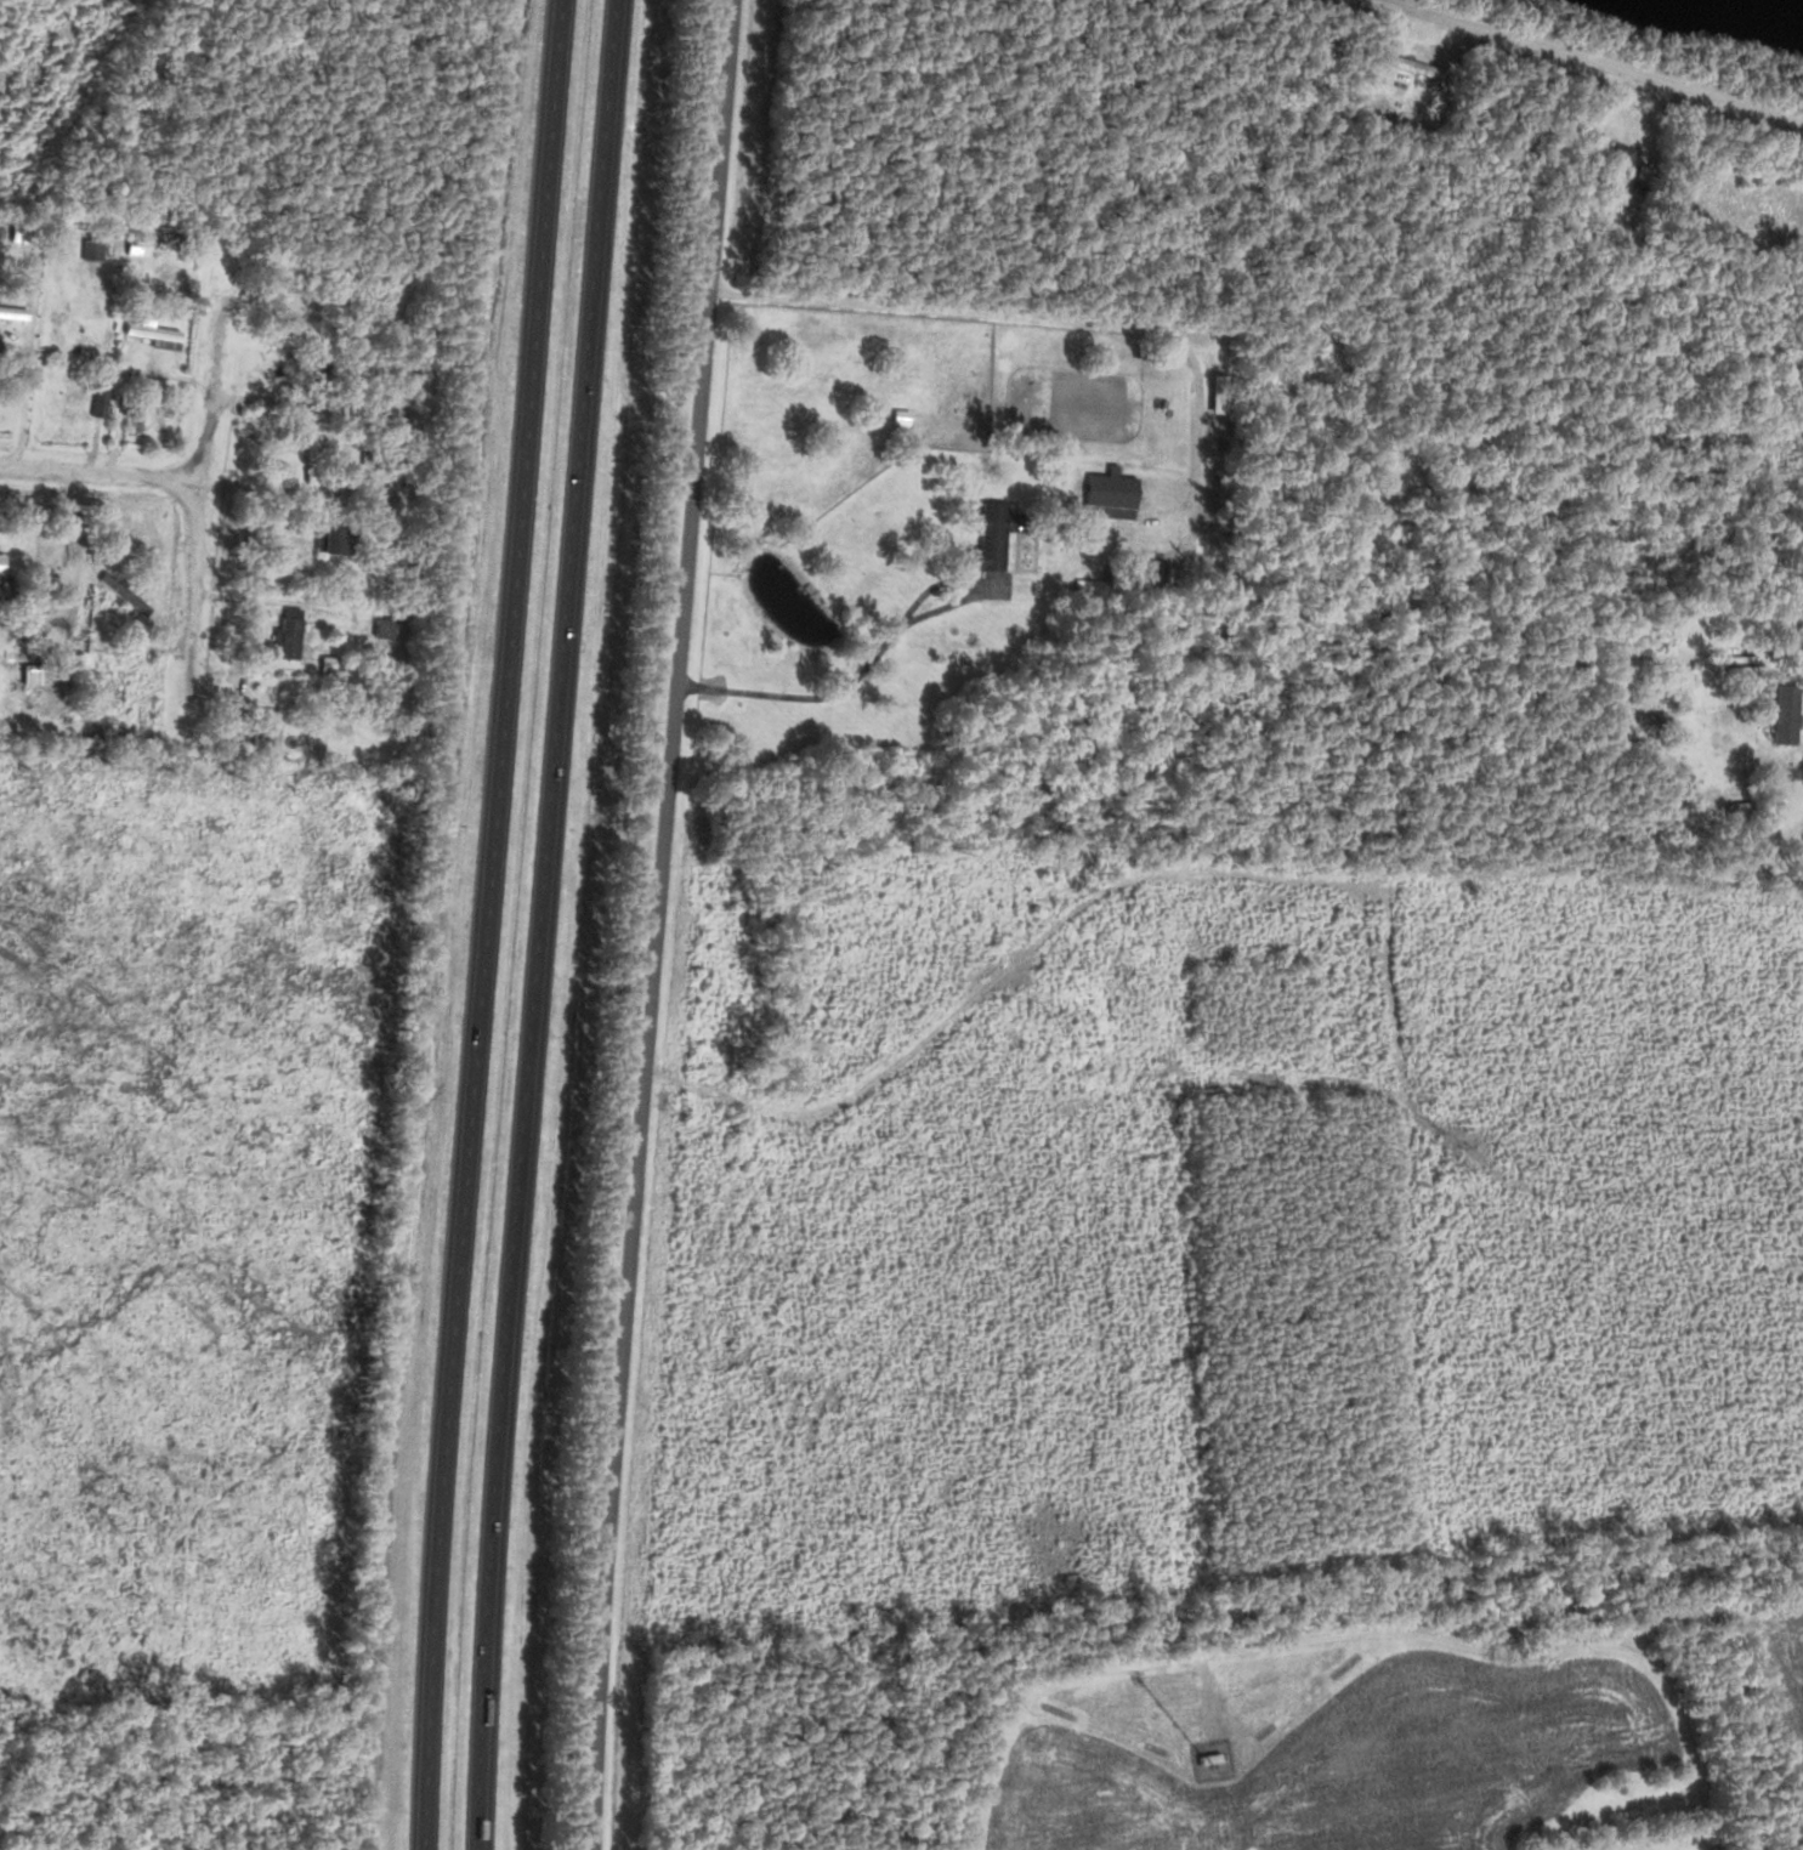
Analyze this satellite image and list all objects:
road: (1390, 41)
road: (1594, 58)
building: (1414, 66)
road: (1663, 118)
building: (1617, 159)
building: (97, 250)
building: (329, 300)
road: (1016, 312)
building: (70, 339)
building: (314, 364)
building: (312, 455)
road: (102, 475)
building: (1109, 494)
road: (202, 520)
building: (988, 534)
building: (327, 537)
building: (0, 566)
road: (934, 583)
building: (123, 592)
building: (382, 628)
building: (287, 632)
building: (323, 666)
road: (1798, 670)
road: (854, 681)
building: (1784, 713)
road: (1072, 906)
road: (488, 924)
road: (539, 924)
road: (656, 924)
building: (1207, 1760)

